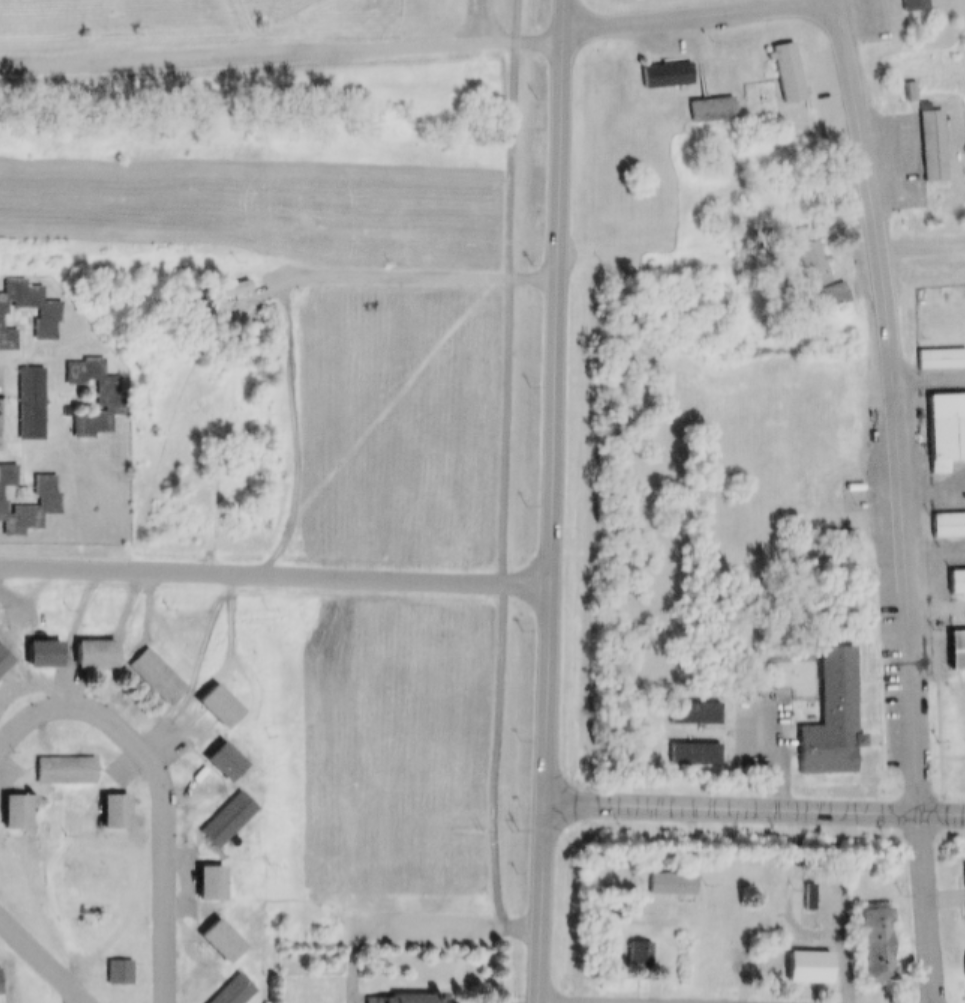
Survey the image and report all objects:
road: (761, 2)
building: (912, 3)
road: (679, 13)
road: (476, 19)
road: (248, 26)
road: (281, 50)
building: (779, 62)
building: (662, 65)
building: (706, 100)
building: (924, 136)
road: (920, 244)
building: (812, 267)
road: (419, 269)
building: (830, 294)
building: (41, 303)
building: (4, 329)
building: (933, 349)
road: (928, 373)
building: (105, 392)
building: (25, 393)
building: (942, 418)
building: (91, 422)
building: (4, 467)
building: (27, 496)
road: (898, 500)
road: (551, 501)
building: (944, 515)
road: (274, 571)
building: (952, 572)
road: (935, 604)
building: (952, 640)
building: (34, 644)
building: (85, 644)
building: (2, 651)
building: (44, 654)
building: (96, 654)
building: (149, 667)
building: (210, 697)
building: (688, 703)
building: (826, 710)
building: (689, 743)
building: (216, 752)
building: (58, 760)
road: (160, 786)
building: (9, 802)
building: (106, 802)
road: (754, 804)
building: (221, 809)
building: (202, 873)
building: (667, 873)
building: (961, 881)
building: (673, 884)
road: (410, 917)
building: (213, 931)
building: (863, 936)
road: (835, 942)
building: (633, 945)
building: (638, 955)
building: (961, 956)
road: (45, 957)
building: (113, 961)
building: (811, 961)
building: (120, 972)
building: (802, 978)
building: (1, 986)
building: (223, 986)
building: (395, 993)
road: (564, 1002)

